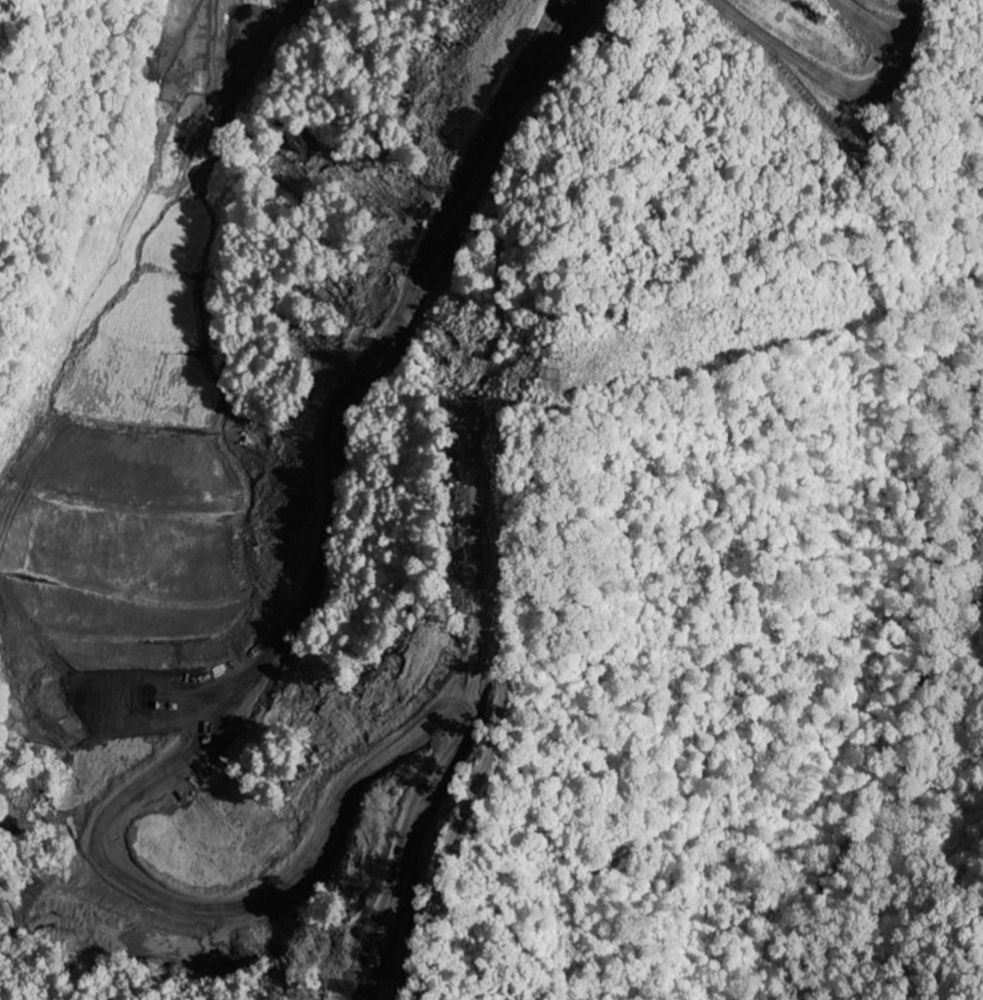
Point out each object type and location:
power tower: (582, 370)

